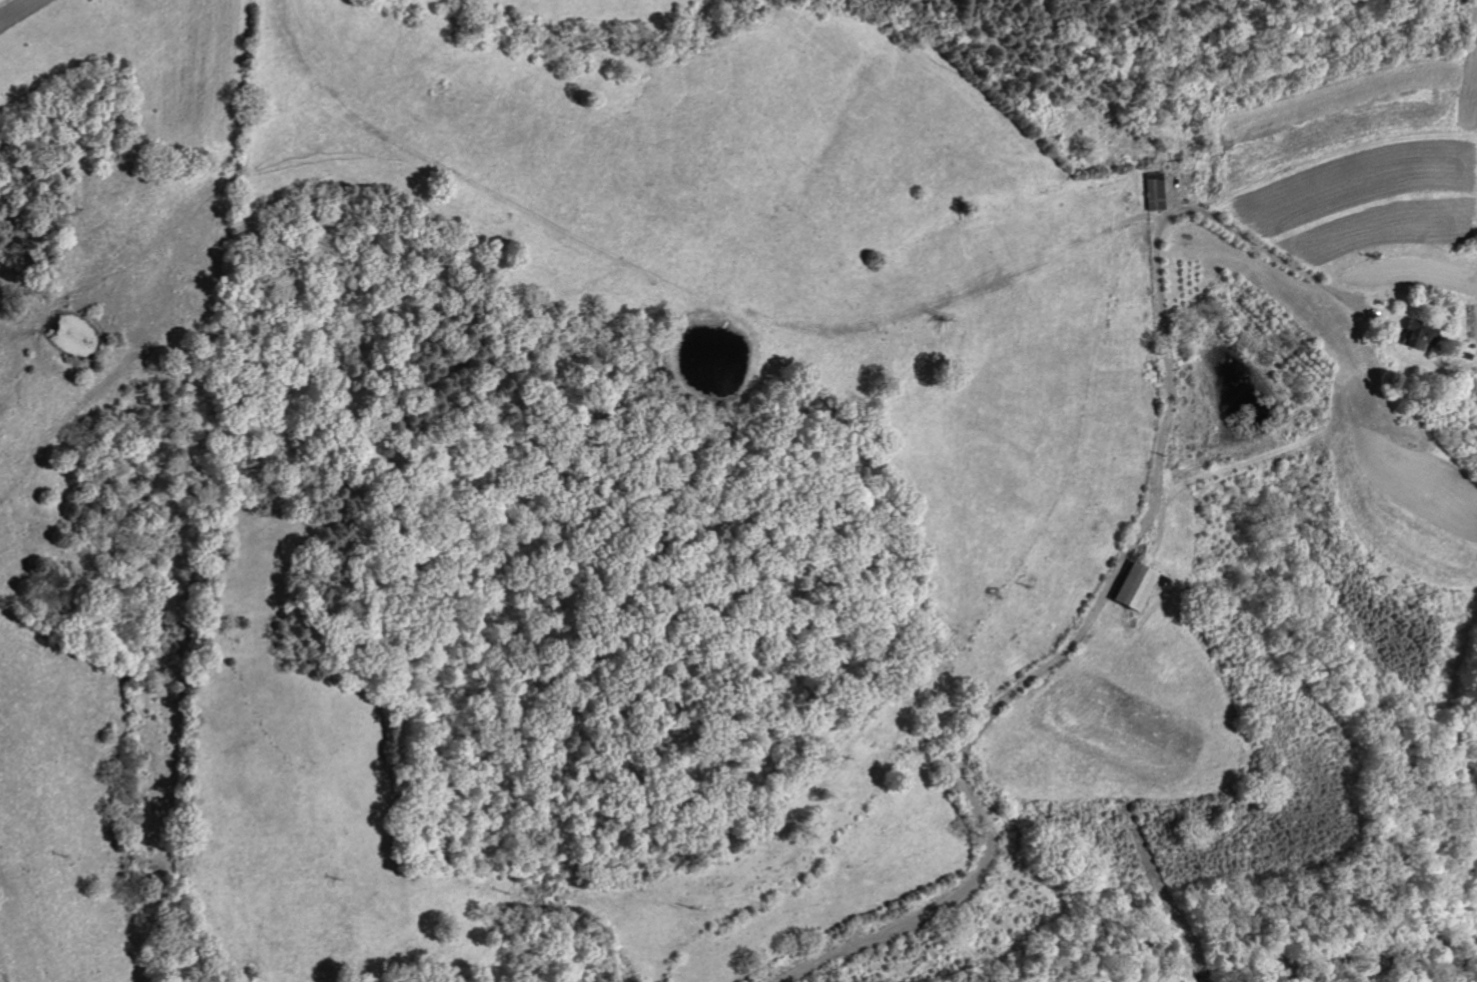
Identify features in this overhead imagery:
building: (1154, 191)
building: (1420, 336)
road: (1115, 575)
building: (1132, 587)

